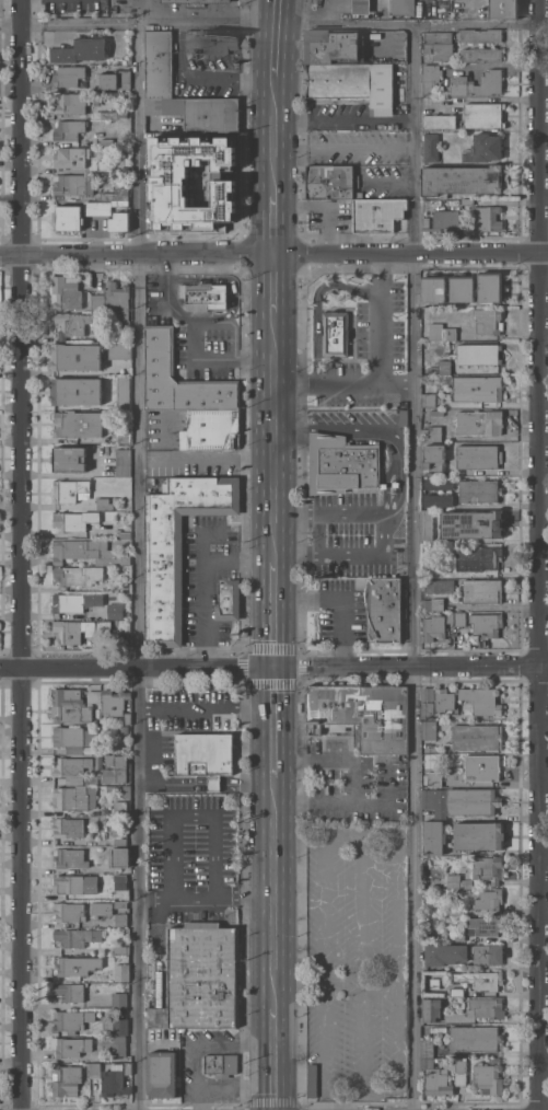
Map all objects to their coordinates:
building: (193, 1)
building: (361, 7)
building: (404, 7)
building: (503, 9)
road: (317, 14)
road: (273, 25)
building: (481, 35)
road: (279, 38)
building: (211, 42)
building: (439, 44)
building: (335, 47)
road: (180, 48)
building: (81, 49)
building: (480, 54)
building: (159, 63)
road: (497, 66)
building: (69, 76)
road: (229, 78)
building: (430, 79)
building: (115, 80)
building: (462, 82)
building: (353, 83)
road: (486, 100)
building: (72, 103)
building: (200, 112)
building: (109, 115)
building: (485, 115)
road: (347, 122)
building: (440, 122)
building: (69, 129)
road: (278, 136)
building: (107, 141)
building: (431, 148)
building: (485, 148)
building: (73, 157)
building: (107, 169)
building: (462, 180)
building: (331, 182)
building: (73, 184)
building: (360, 194)
building: (184, 199)
building: (468, 201)
building: (107, 203)
building: (377, 215)
building: (69, 218)
building: (489, 218)
building: (443, 220)
road: (278, 221)
building: (120, 222)
road: (273, 248)
road: (278, 282)
building: (491, 287)
building: (434, 288)
building: (462, 289)
building: (66, 292)
building: (205, 296)
building: (97, 302)
building: (119, 302)
road: (317, 303)
road: (381, 315)
building: (488, 320)
building: (71, 324)
building: (442, 332)
building: (336, 334)
road: (195, 336)
building: (160, 349)
building: (120, 352)
building: (479, 354)
building: (77, 356)
building: (441, 368)
building: (446, 380)
road: (346, 382)
building: (477, 389)
building: (77, 391)
building: (124, 392)
building: (429, 400)
road: (546, 403)
building: (404, 417)
building: (478, 423)
building: (78, 424)
road: (339, 428)
building: (211, 430)
building: (432, 433)
building: (124, 436)
road: (276, 439)
road: (546, 439)
building: (479, 456)
building: (70, 459)
road: (214, 460)
building: (434, 460)
building: (124, 462)
building: (342, 464)
building: (439, 483)
building: (71, 490)
building: (479, 490)
building: (116, 499)
building: (440, 500)
building: (104, 504)
road: (366, 510)
building: (81, 523)
building: (428, 524)
building: (471, 524)
building: (177, 546)
building: (88, 552)
road: (25, 554)
road: (138, 554)
road: (545, 555)
building: (478, 557)
road: (411, 567)
building: (78, 575)
road: (209, 579)
building: (440, 586)
building: (481, 590)
road: (341, 599)
building: (229, 600)
building: (74, 602)
building: (433, 604)
road: (498, 606)
building: (385, 609)
building: (116, 611)
road: (275, 613)
building: (451, 617)
building: (481, 622)
building: (114, 625)
building: (433, 628)
building: (73, 631)
building: (458, 632)
road: (273, 666)
traffic signals: (275, 666)
building: (428, 694)
building: (444, 699)
building: (482, 699)
building: (115, 701)
building: (73, 705)
road: (206, 707)
building: (428, 710)
building: (363, 715)
building: (128, 718)
road: (273, 720)
building: (97, 721)
building: (123, 729)
building: (429, 729)
building: (477, 737)
building: (74, 738)
building: (205, 755)
building: (72, 766)
building: (483, 767)
building: (115, 768)
building: (435, 779)
road: (357, 781)
road: (173, 783)
road: (214, 784)
road: (247, 784)
building: (112, 789)
building: (126, 790)
building: (70, 798)
building: (473, 801)
building: (120, 808)
building: (428, 812)
road: (194, 814)
building: (68, 828)
building: (120, 830)
building: (479, 835)
building: (434, 837)
building: (120, 841)
building: (120, 857)
building: (70, 858)
building: (489, 868)
building: (120, 877)
road: (363, 881)
building: (454, 881)
building: (467, 883)
building: (69, 884)
road: (273, 890)
road: (206, 895)
building: (490, 901)
building: (120, 904)
building: (102, 907)
building: (69, 911)
building: (455, 911)
building: (121, 918)
building: (487, 926)
building: (455, 935)
building: (75, 937)
building: (123, 949)
building: (445, 953)
building: (489, 953)
road: (325, 960)
building: (70, 966)
building: (123, 972)
building: (200, 978)
building: (481, 979)
building: (435, 983)
road: (335, 985)
building: (69, 992)
building: (456, 992)
building: (120, 999)
building: (487, 1007)
building: (431, 1008)
building: (73, 1019)
building: (120, 1026)
road: (398, 1033)
building: (476, 1038)
road: (201, 1042)
building: (120, 1045)
building: (70, 1047)
building: (428, 1047)
road: (273, 1056)
building: (220, 1064)
building: (450, 1064)
building: (128, 1068)
building: (94, 1069)
building: (462, 1071)
building: (162, 1074)
building: (488, 1077)
building: (313, 1079)
building: (436, 1079)
building: (67, 1080)
building: (114, 1082)
road: (234, 1084)
road: (343, 1097)

